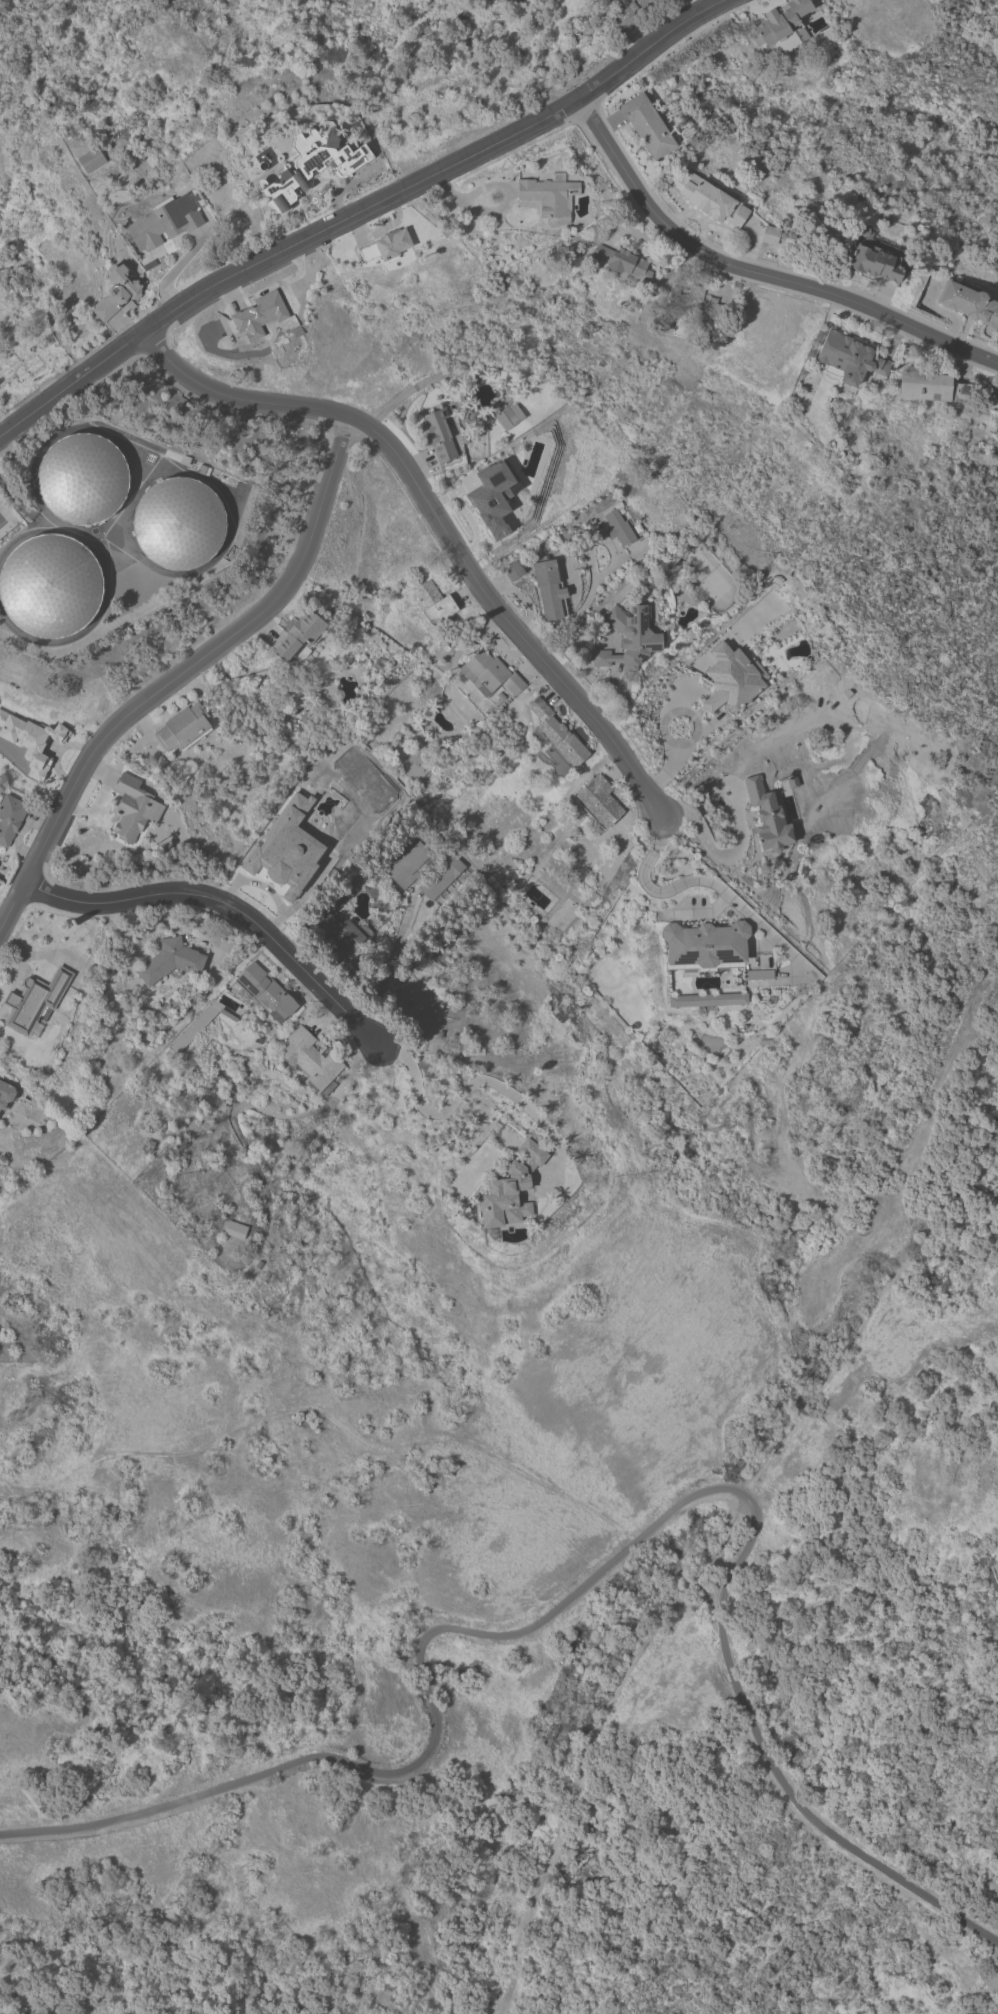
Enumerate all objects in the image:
building: (629, 11)
building: (781, 27)
building: (647, 124)
building: (89, 158)
building: (311, 165)
road: (343, 187)
building: (548, 195)
building: (710, 198)
road: (498, 209)
road: (362, 213)
building: (161, 225)
building: (769, 234)
building: (386, 245)
building: (621, 261)
building: (874, 262)
road: (756, 276)
building: (115, 291)
building: (692, 301)
building: (968, 302)
building: (258, 314)
building: (848, 357)
building: (930, 386)
building: (991, 403)
building: (509, 415)
building: (997, 419)
building: (438, 434)
building: (81, 478)
building: (492, 496)
road: (438, 522)
building: (177, 523)
building: (618, 525)
building: (512, 570)
building: (49, 585)
building: (549, 587)
building: (434, 602)
building: (300, 635)
building: (629, 637)
building: (489, 673)
road: (180, 677)
building: (731, 677)
road: (663, 724)
building: (183, 728)
building: (556, 736)
building: (31, 740)
building: (417, 768)
building: (598, 801)
building: (132, 807)
building: (767, 816)
building: (10, 817)
building: (285, 849)
road: (719, 855)
building: (424, 867)
road: (703, 883)
building: (340, 894)
road: (228, 907)
building: (338, 932)
building: (715, 949)
building: (170, 960)
building: (265, 991)
building: (707, 999)
building: (34, 1001)
building: (311, 1060)
building: (5, 1094)
road: (461, 1097)
building: (510, 1188)
building: (235, 1229)
road: (597, 1577)

